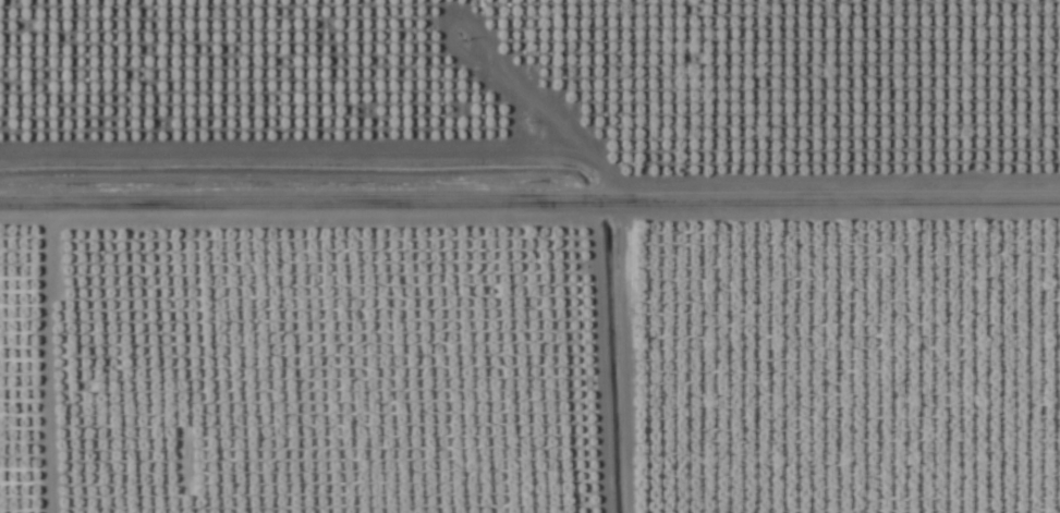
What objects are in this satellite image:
building: (157, 149)
road: (529, 190)
crop: (529, 256)

